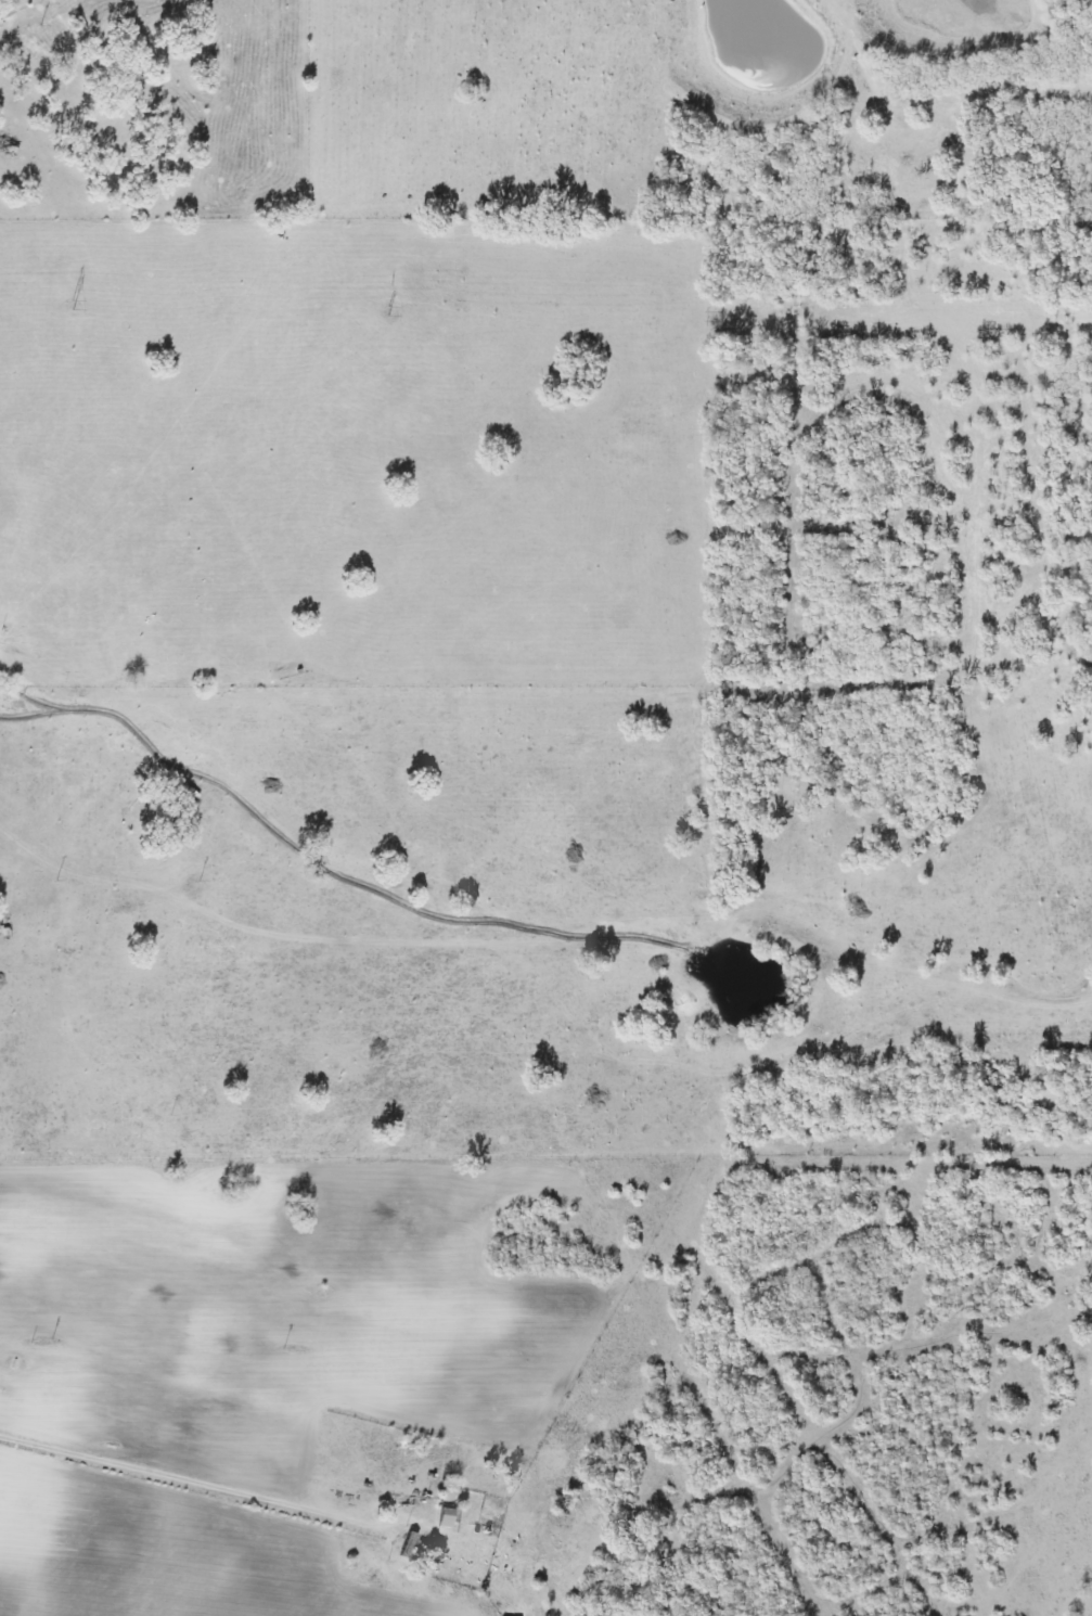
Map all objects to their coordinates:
power tower: (74, 291)
power tower: (387, 297)
power tower: (725, 306)
building: (447, 1516)

